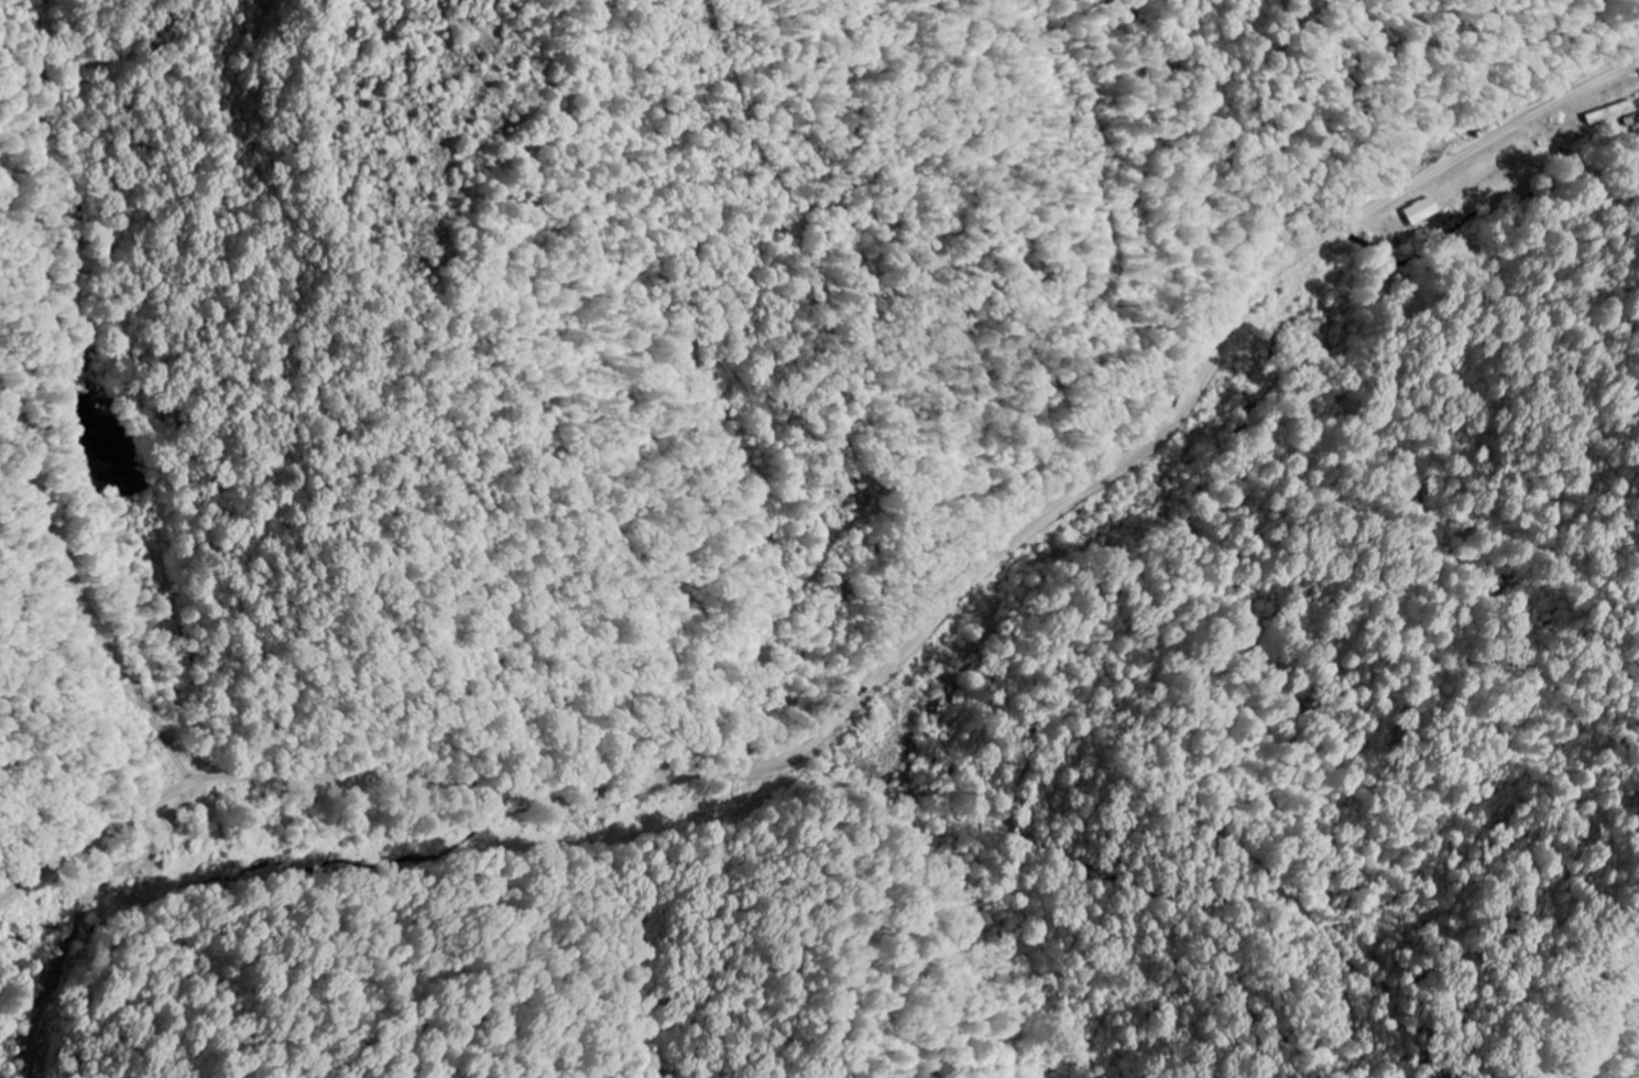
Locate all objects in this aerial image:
road: (895, 661)

